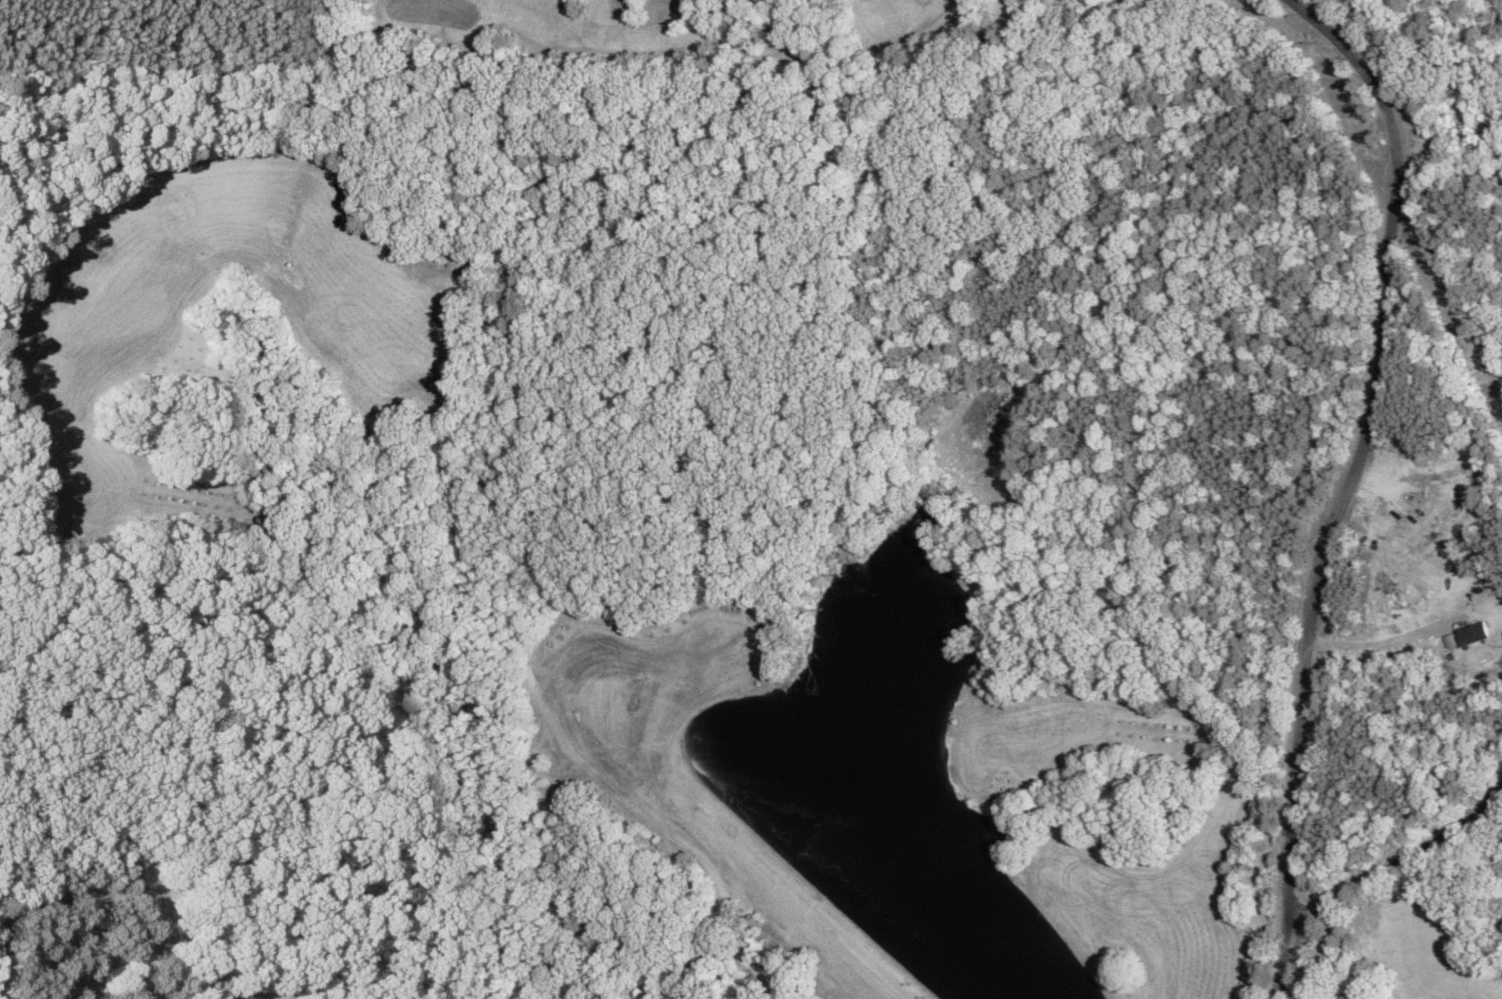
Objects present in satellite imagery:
road: (1351, 481)
road: (1397, 858)

